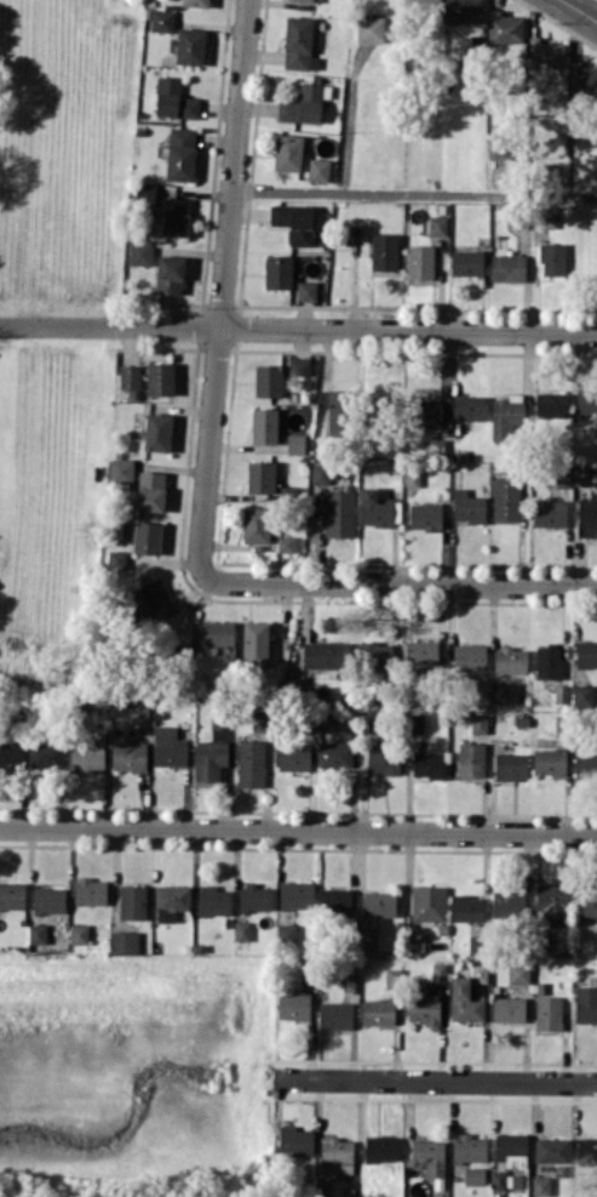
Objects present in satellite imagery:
building: (303, 0)
building: (426, 0)
building: (195, 2)
road: (573, 2)
road: (592, 7)
road: (579, 10)
building: (464, 11)
building: (161, 19)
building: (504, 27)
building: (371, 28)
building: (299, 44)
building: (190, 46)
building: (545, 53)
building: (582, 80)
building: (173, 98)
building: (304, 103)
building: (496, 147)
building: (288, 152)
building: (180, 153)
building: (318, 169)
road: (414, 193)
building: (145, 194)
building: (174, 216)
building: (544, 216)
building: (294, 222)
building: (437, 224)
building: (140, 251)
building: (384, 251)
building: (552, 258)
building: (420, 261)
building: (466, 262)
building: (507, 267)
building: (277, 270)
building: (170, 274)
road: (223, 290)
building: (306, 290)
road: (298, 326)
building: (298, 365)
building: (130, 376)
building: (160, 378)
building: (268, 380)
building: (586, 400)
building: (551, 404)
building: (469, 407)
building: (335, 411)
building: (430, 414)
building: (506, 415)
building: (264, 424)
building: (157, 432)
building: (295, 443)
building: (121, 469)
building: (320, 473)
building: (582, 474)
building: (563, 475)
building: (260, 477)
building: (150, 490)
building: (506, 498)
building: (467, 506)
building: (378, 508)
building: (550, 512)
building: (339, 513)
building: (425, 515)
building: (586, 517)
building: (256, 524)
building: (147, 537)
building: (286, 543)
building: (115, 559)
road: (402, 582)
building: (147, 597)
building: (216, 633)
building: (256, 643)
building: (421, 651)
building: (325, 654)
building: (375, 654)
building: (586, 654)
building: (470, 656)
building: (511, 661)
building: (549, 662)
building: (503, 692)
building: (561, 692)
building: (581, 695)
building: (138, 717)
building: (222, 718)
building: (262, 720)
building: (328, 720)
building: (371, 723)
building: (415, 723)
building: (478, 723)
building: (168, 747)
building: (47, 753)
building: (90, 754)
building: (335, 754)
building: (11, 756)
building: (128, 756)
building: (294, 758)
building: (209, 759)
building: (383, 759)
building: (471, 759)
building: (549, 760)
building: (251, 763)
building: (427, 764)
building: (585, 764)
building: (511, 765)
road: (298, 828)
building: (90, 891)
building: (297, 894)
building: (12, 895)
building: (254, 897)
building: (48, 900)
building: (213, 900)
building: (133, 901)
building: (171, 901)
building: (335, 901)
building: (429, 902)
building: (379, 904)
building: (553, 904)
building: (507, 905)
building: (586, 905)
building: (242, 930)
building: (286, 930)
building: (36, 933)
building: (78, 933)
building: (367, 939)
building: (124, 941)
building: (595, 942)
building: (438, 971)
building: (478, 971)
building: (518, 973)
building: (596, 975)
building: (392, 977)
building: (349, 981)
building: (465, 1001)
building: (586, 1003)
building: (423, 1005)
building: (293, 1007)
building: (509, 1008)
building: (378, 1011)
building: (549, 1011)
building: (335, 1015)
road: (438, 1078)
building: (295, 1140)
building: (510, 1144)
building: (380, 1147)
building: (469, 1147)
building: (552, 1150)
building: (586, 1150)
building: (337, 1155)
building: (429, 1156)
building: (473, 1175)
building: (498, 1180)
building: (541, 1185)

